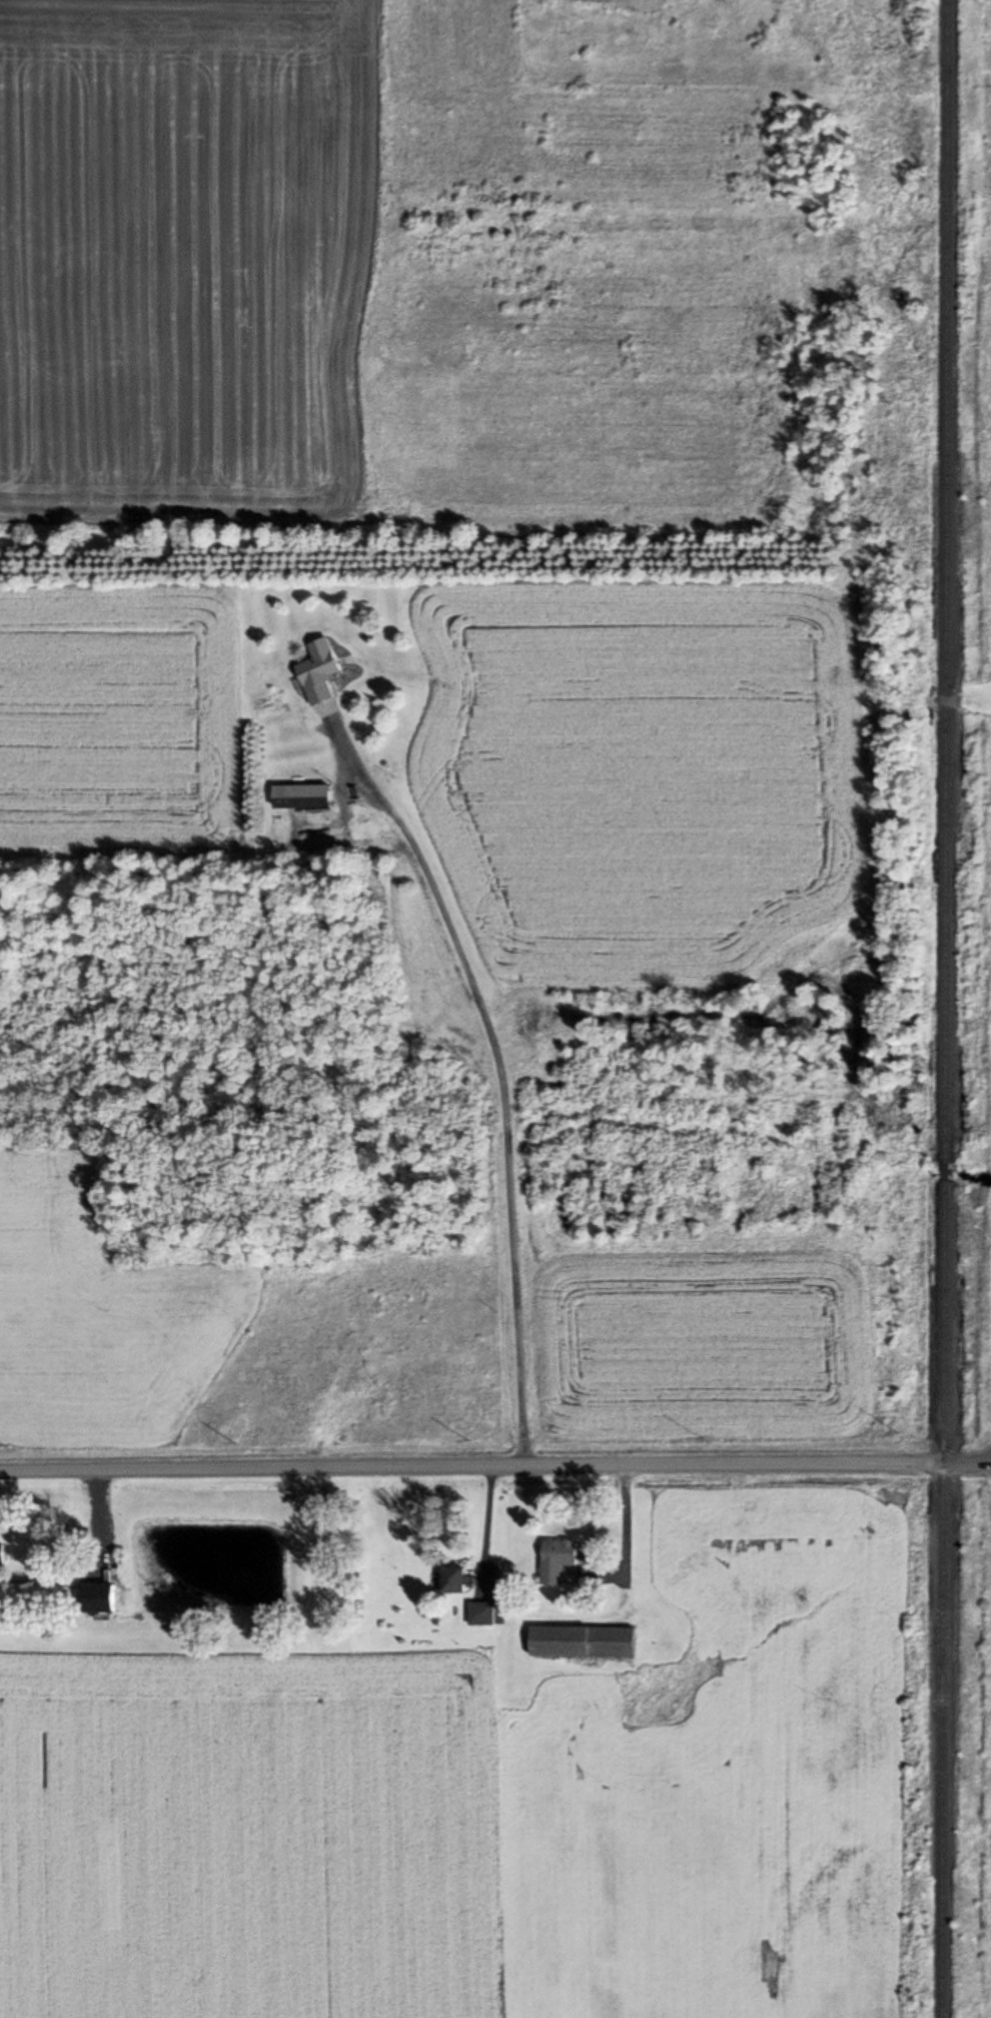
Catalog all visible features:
railway: (948, 580)
building: (325, 669)
building: (308, 795)
railway: (948, 1170)
road: (495, 1466)
building: (5, 1552)
building: (561, 1559)
building: (460, 1579)
building: (105, 1596)
railway: (945, 1599)
building: (486, 1612)
building: (587, 1641)

